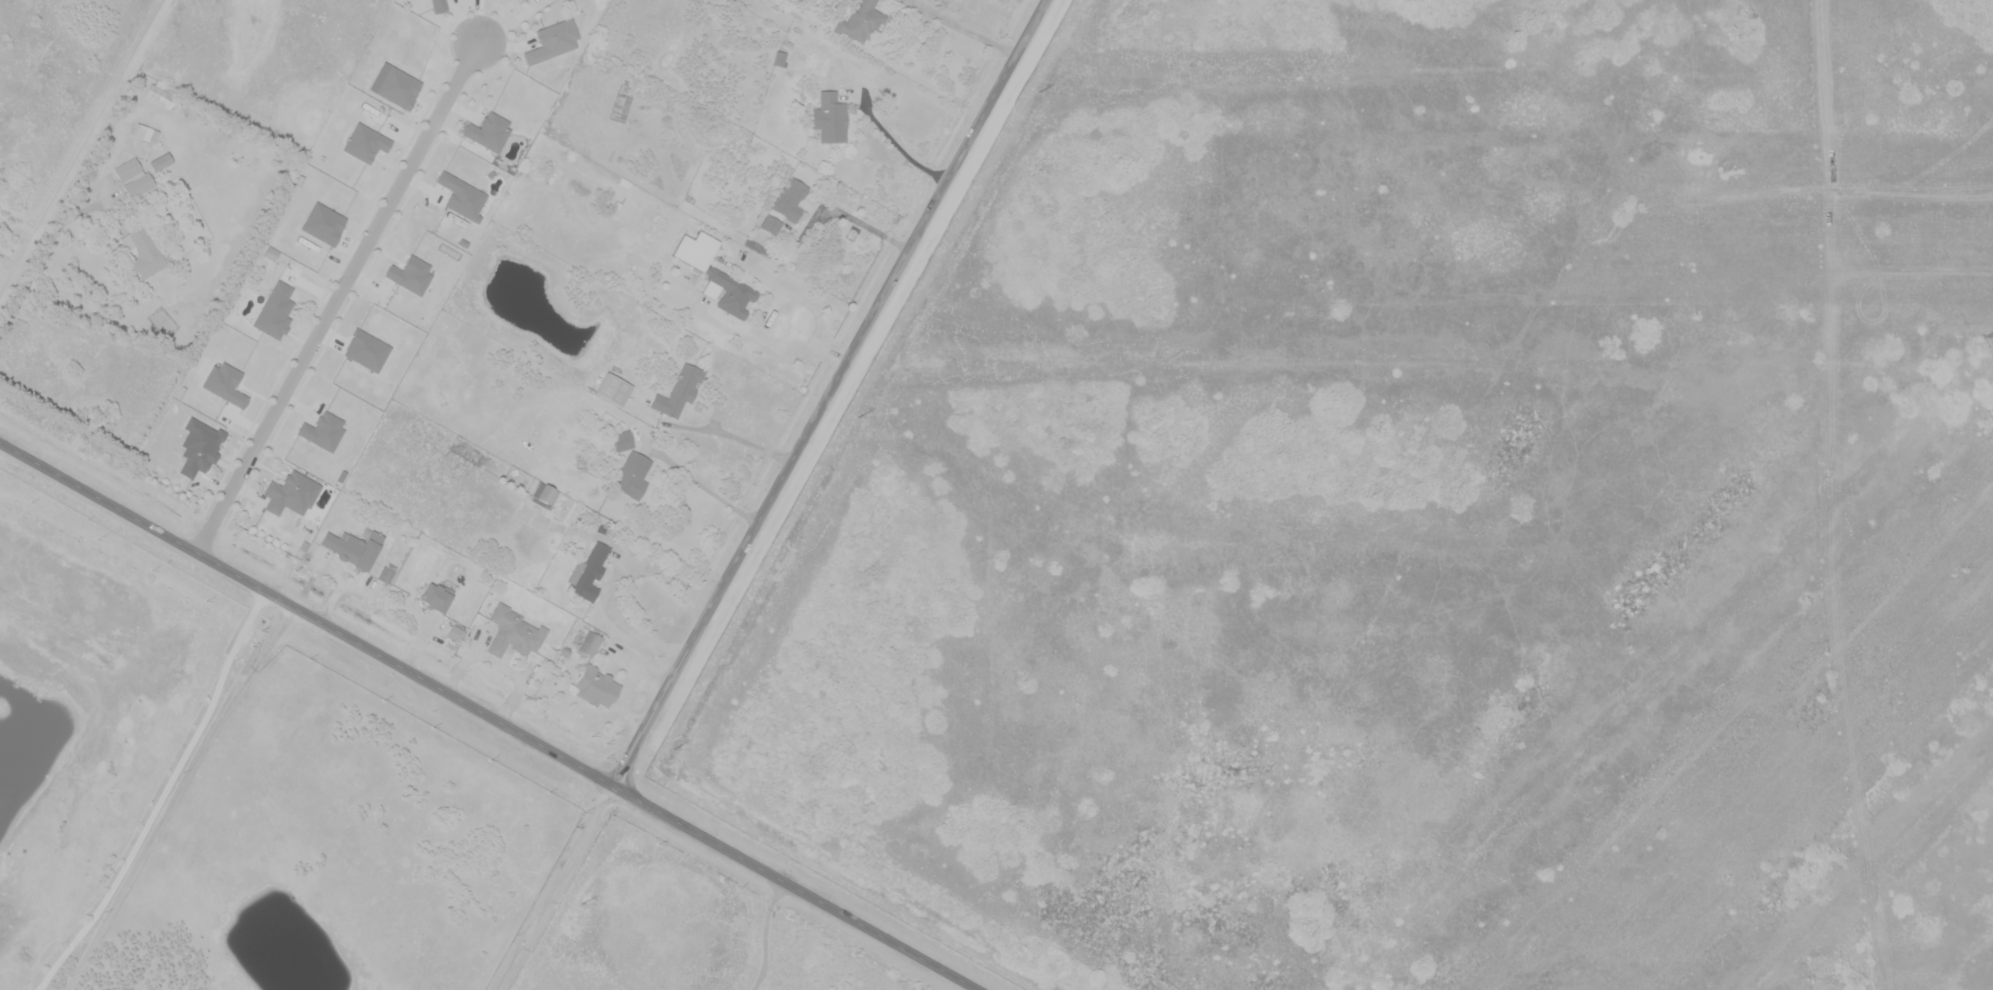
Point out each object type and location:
building: (524, 0)
building: (438, 6)
building: (543, 12)
building: (862, 21)
building: (552, 41)
building: (780, 58)
building: (397, 87)
building: (161, 95)
building: (622, 103)
building: (831, 117)
building: (488, 131)
building: (145, 133)
building: (364, 143)
road: (80, 146)
building: (160, 162)
building: (134, 177)
building: (461, 196)
building: (783, 207)
road: (38, 249)
building: (145, 253)
building: (410, 274)
building: (716, 275)
road: (336, 294)
building: (613, 389)
building: (679, 390)
road: (828, 392)
building: (623, 440)
building: (198, 447)
building: (632, 476)
building: (290, 493)
building: (544, 496)
airport: (1415, 514)
building: (353, 547)
building: (589, 572)
building: (385, 574)
road: (609, 577)
building: (435, 597)
building: (453, 632)
building: (514, 632)
building: (589, 643)
building: (597, 686)
road: (489, 716)
road: (553, 888)
road: (767, 934)
road: (524, 951)

